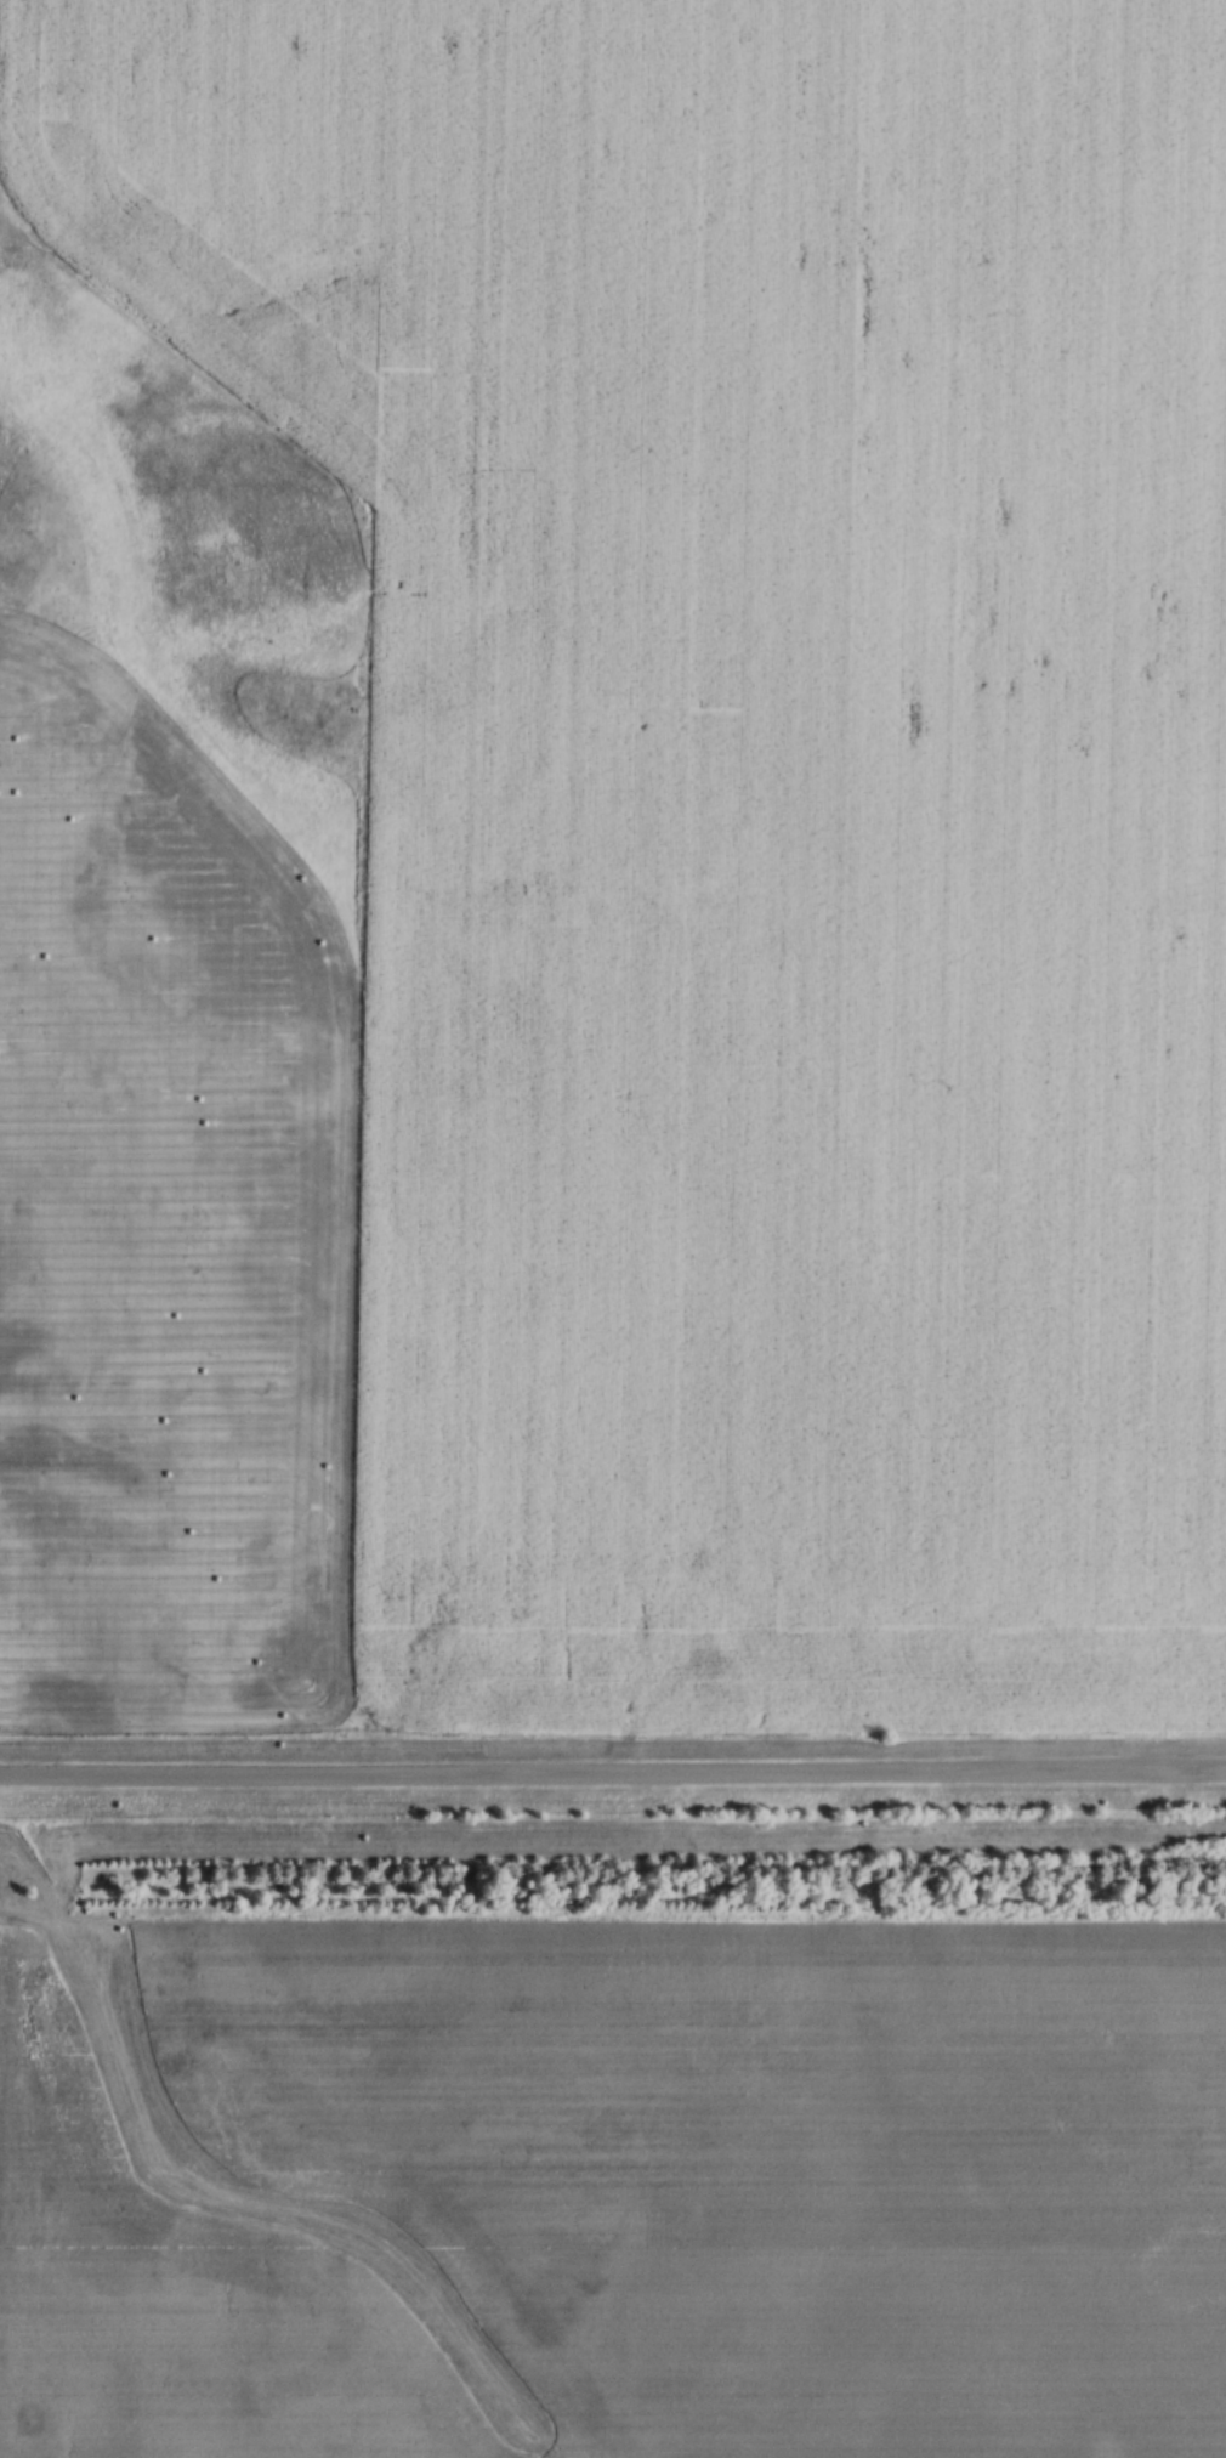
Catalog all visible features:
road: (613, 1771)

